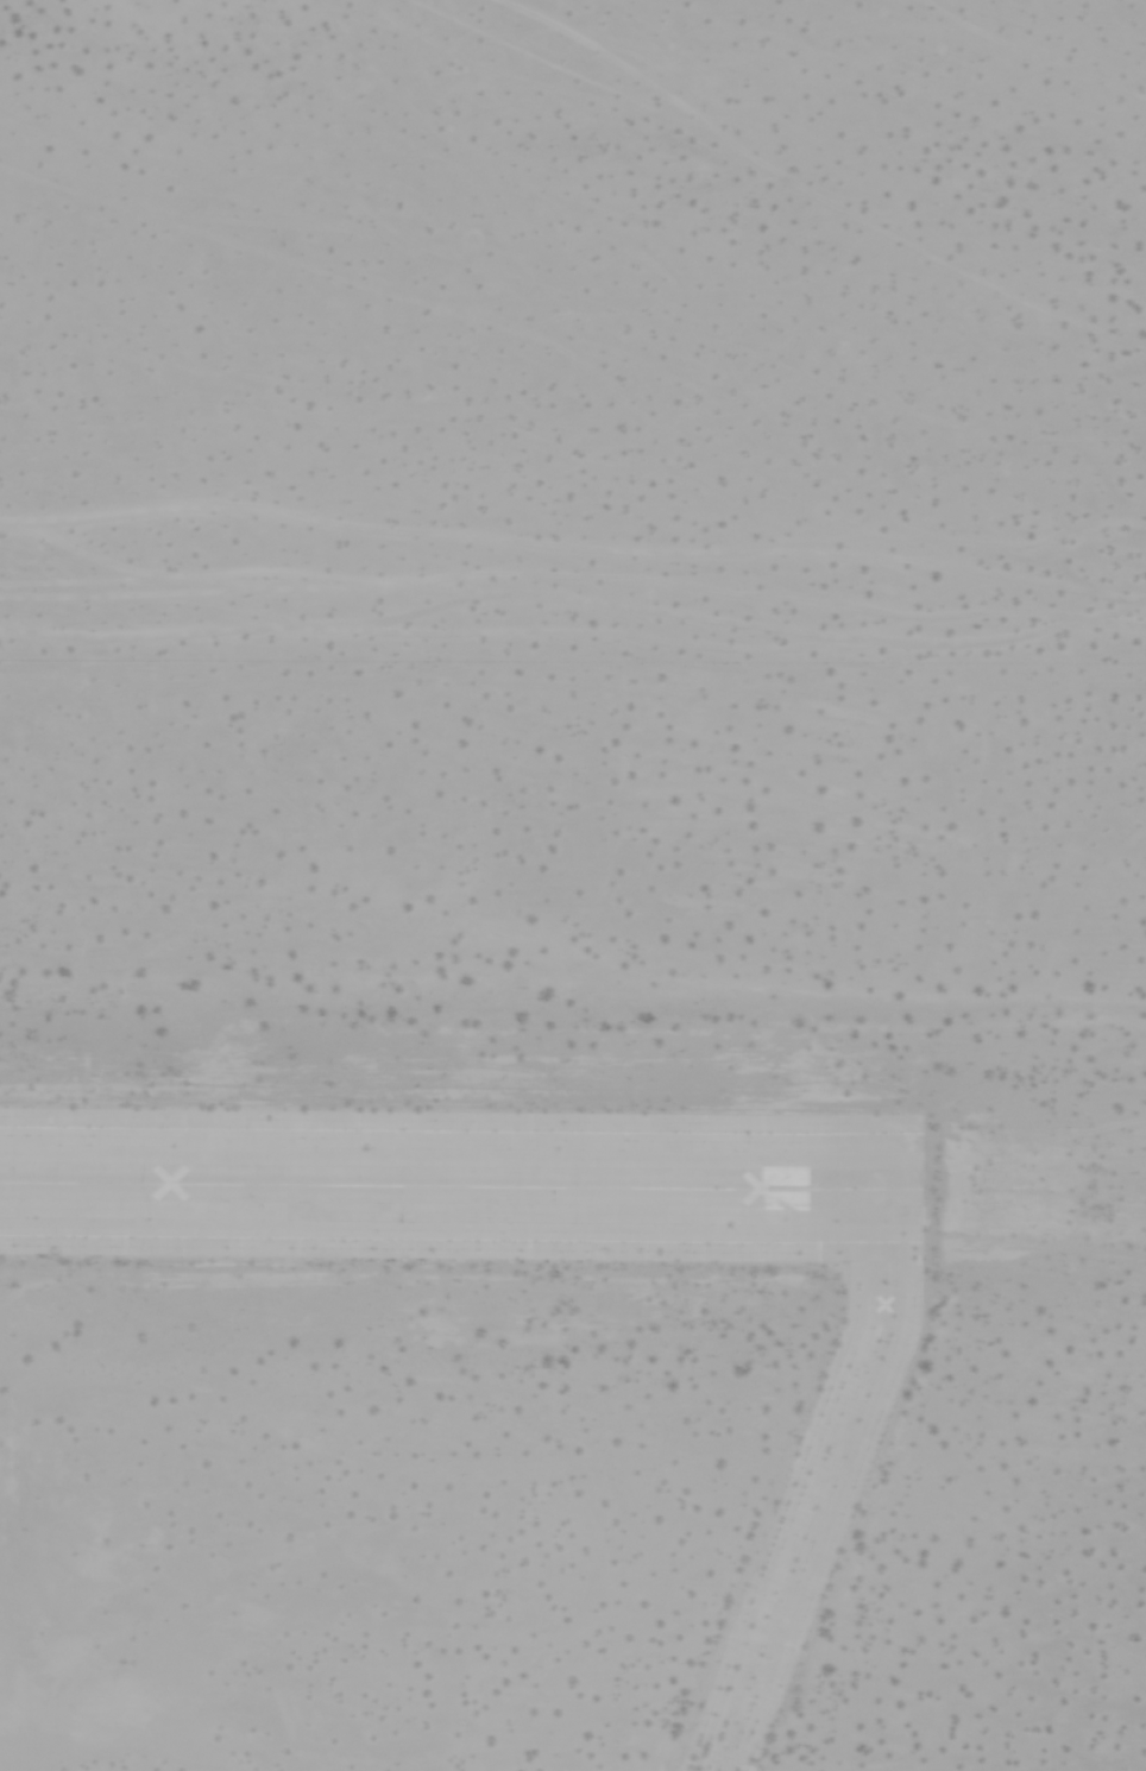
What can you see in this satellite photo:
airport runway: (459, 1183)

